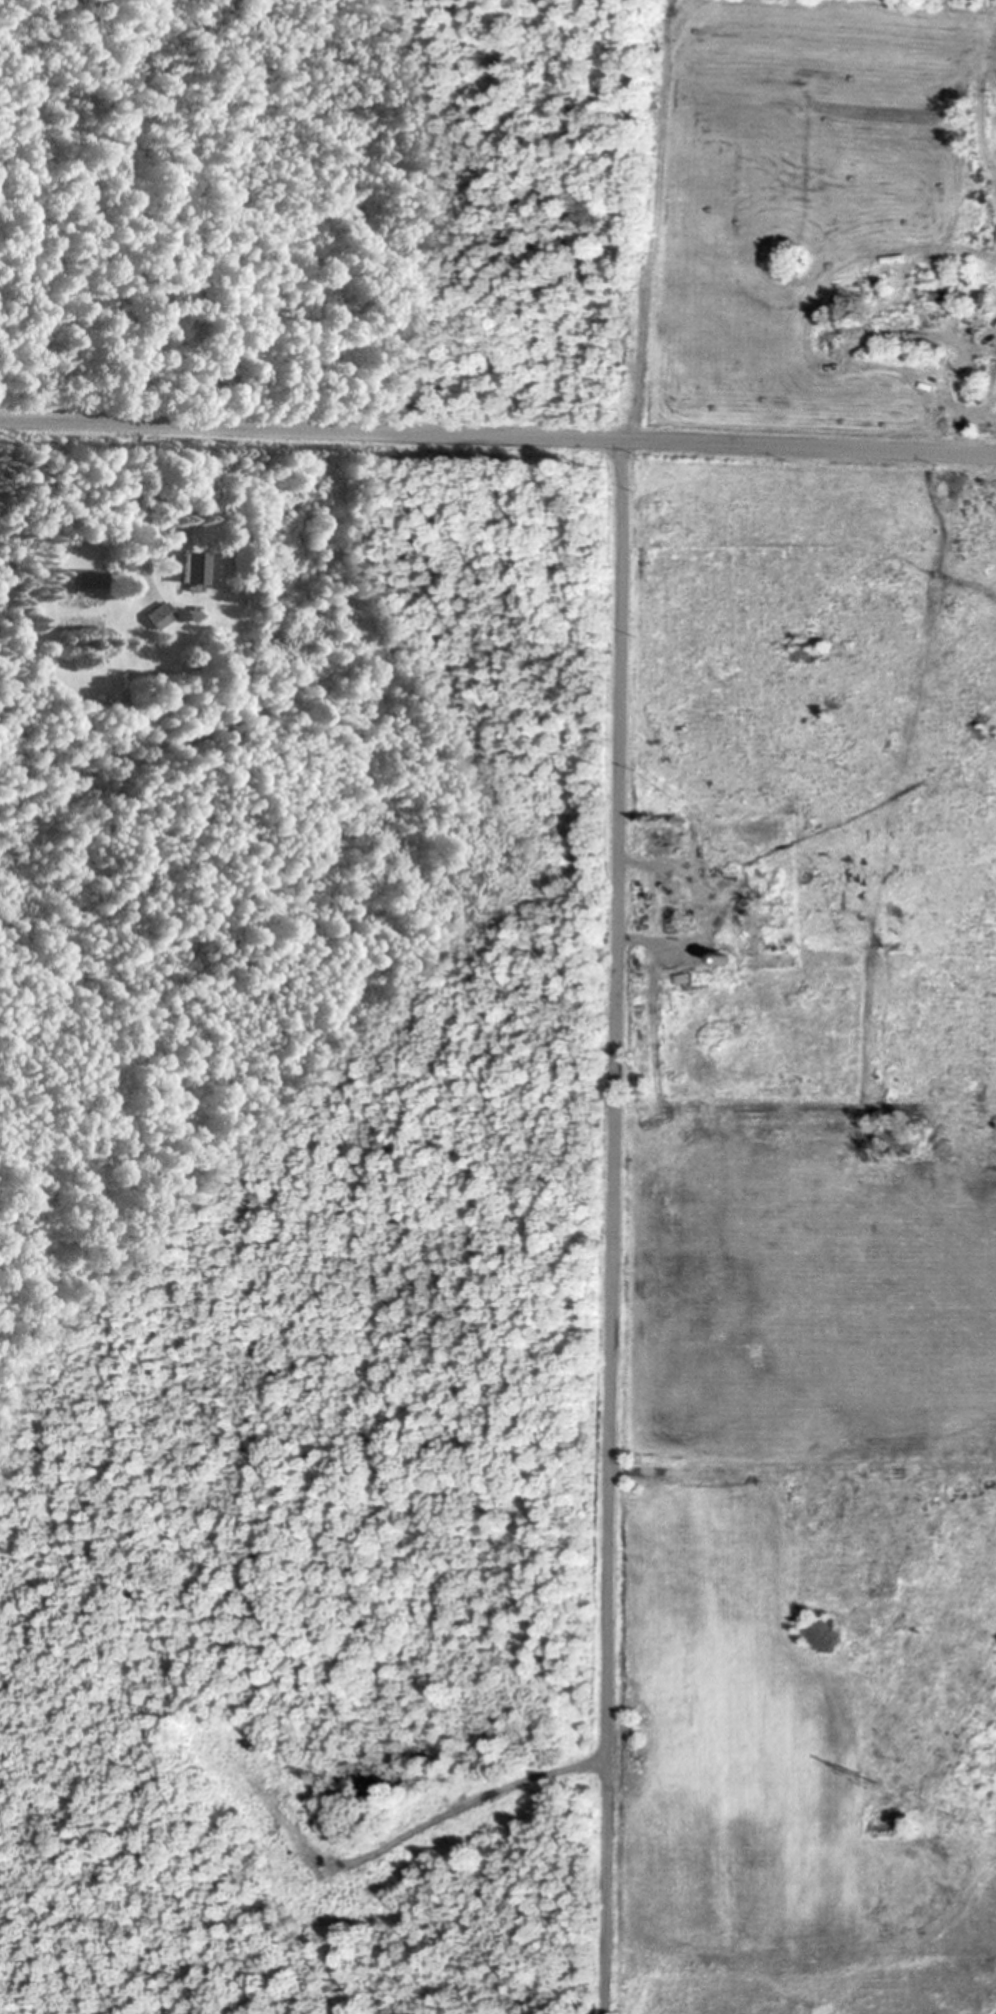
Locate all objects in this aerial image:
building: (948, 297)
building: (898, 323)
road: (498, 434)
building: (196, 568)
building: (91, 580)
building: (161, 616)
building: (672, 901)
road: (613, 1225)
crop: (807, 1239)

